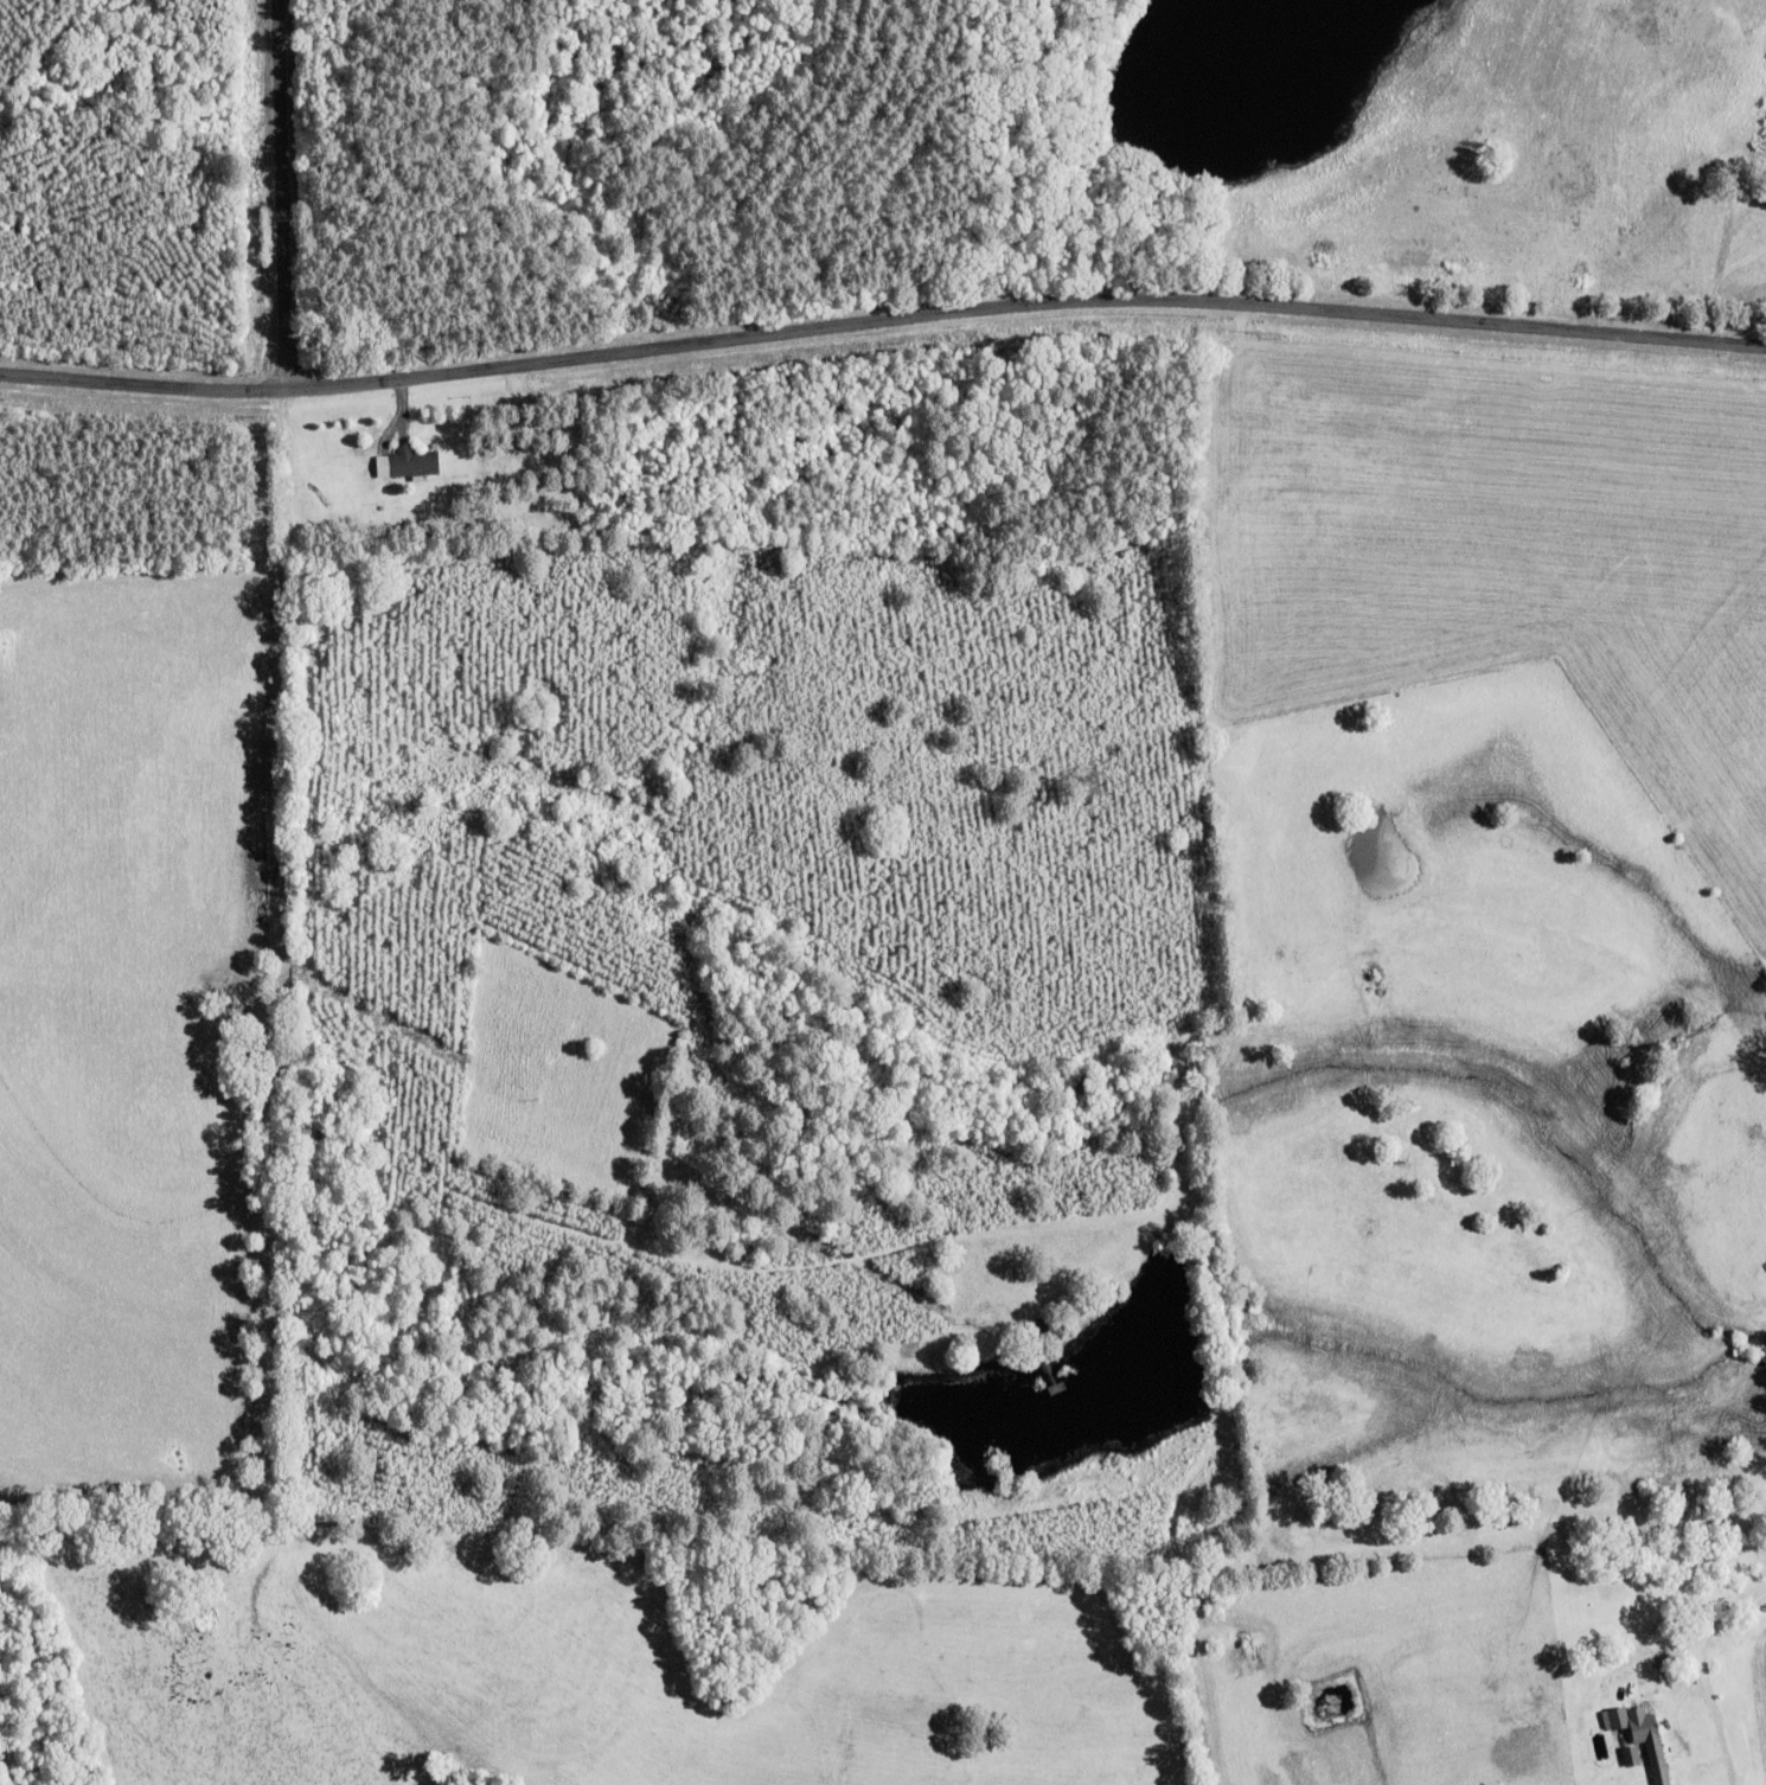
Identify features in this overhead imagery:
road: (280, 193)
road: (882, 318)
building: (1210, 392)
building: (404, 462)
building: (1036, 1327)
road: (1703, 1629)
building: (1640, 1736)
building: (1627, 1755)

